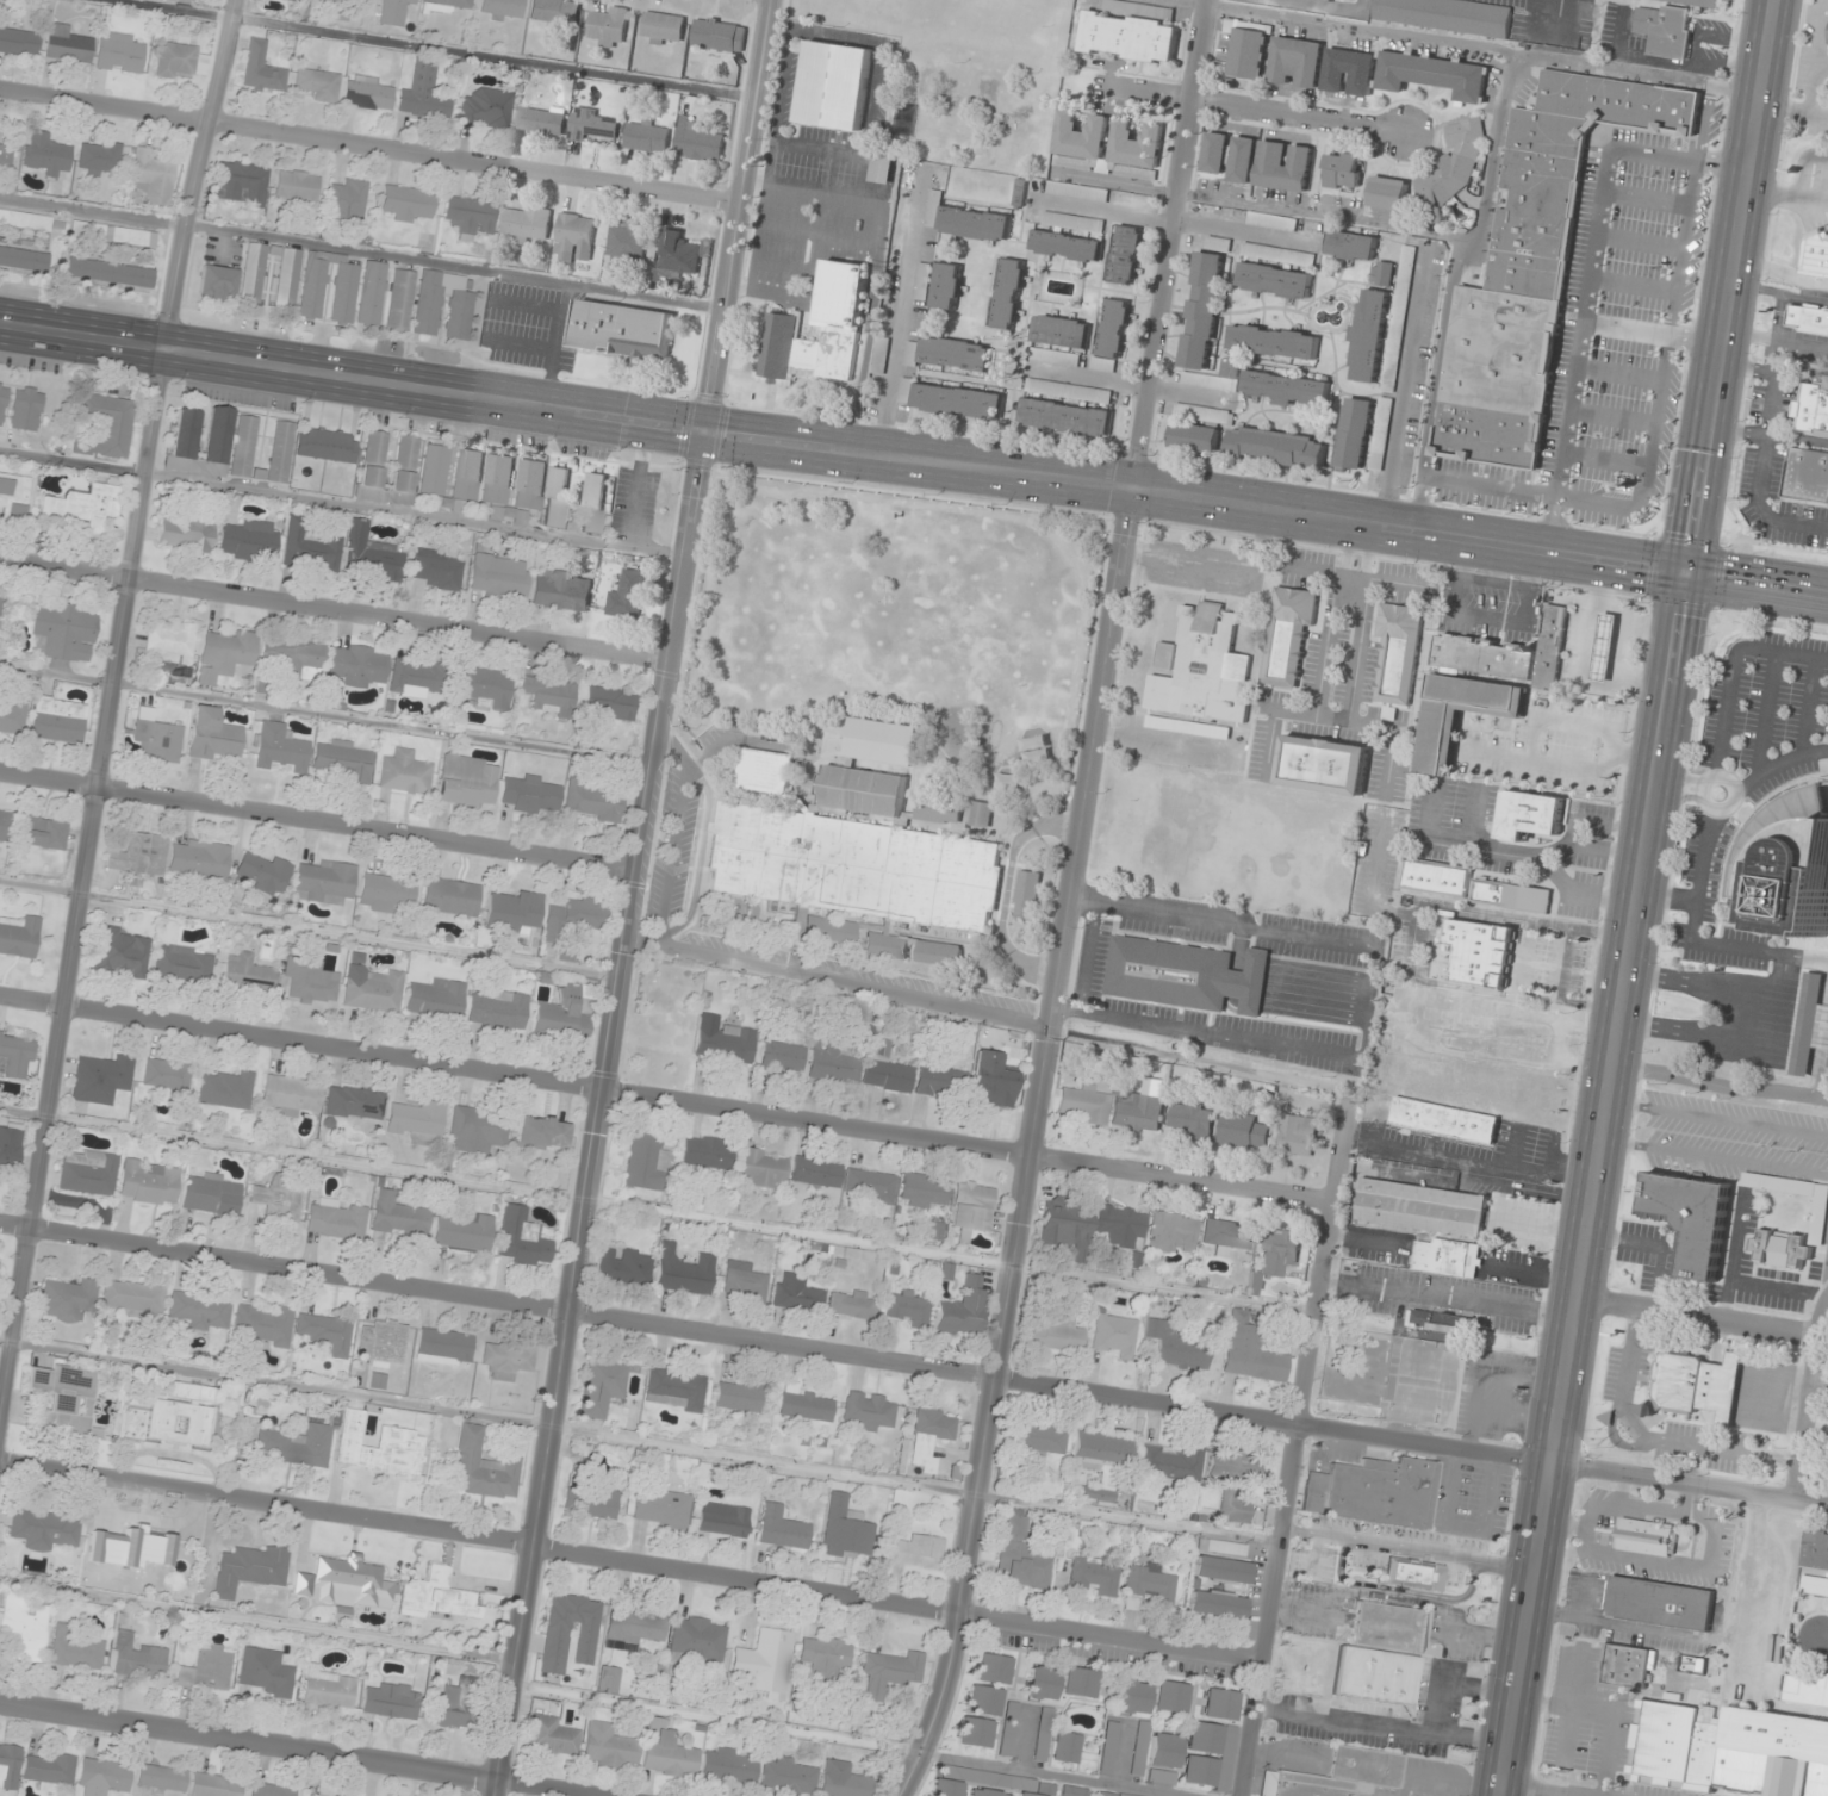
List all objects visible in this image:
building: (340, 1)
building: (1698, 2)
building: (443, 5)
building: (502, 8)
building: (392, 11)
building: (555, 11)
building: (1445, 15)
building: (608, 27)
building: (664, 29)
road: (1357, 29)
building: (1665, 30)
building: (719, 35)
building: (1128, 38)
building: (18, 42)
building: (67, 44)
building: (120, 52)
building: (1248, 55)
building: (175, 60)
building: (1295, 63)
building: (262, 69)
road: (1627, 70)
building: (1349, 72)
building: (1434, 75)
building: (316, 85)
building: (834, 85)
building: (368, 93)
building: (424, 93)
road: (1235, 106)
building: (487, 108)
building: (541, 120)
building: (592, 125)
building: (0, 130)
building: (647, 136)
building: (1081, 141)
building: (700, 143)
road: (371, 148)
building: (1136, 148)
building: (1215, 153)
building: (5, 154)
building: (44, 154)
building: (99, 157)
building: (1243, 160)
road: (1802, 164)
building: (1283, 166)
building: (882, 169)
building: (1451, 172)
building: (1343, 173)
building: (151, 178)
building: (241, 182)
building: (297, 187)
parking lot: (1809, 187)
building: (1388, 193)
road: (1786, 194)
road: (1643, 200)
building: (347, 203)
building: (406, 203)
road: (1260, 206)
building: (471, 216)
building: (31, 220)
building: (964, 220)
building: (1273, 222)
building: (526, 223)
building: (574, 232)
building: (112, 235)
building: (627, 241)
road: (1637, 243)
building: (1065, 246)
building: (1351, 246)
road: (1467, 246)
building: (1814, 253)
building: (679, 254)
building: (1125, 255)
building: (23, 257)
building: (1532, 265)
building: (107, 273)
road: (1782, 273)
building: (253, 274)
building: (1382, 274)
building: (288, 279)
building: (1274, 280)
road: (1587, 280)
building: (217, 282)
building: (313, 285)
road: (1733, 285)
building: (946, 286)
road: (1631, 286)
building: (344, 293)
building: (372, 293)
building: (1008, 293)
road: (1779, 296)
building: (1403, 297)
building: (399, 299)
building: (443, 306)
building: (1201, 310)
building: (1808, 318)
building: (838, 321)
building: (1114, 328)
building: (626, 331)
building: (1059, 331)
road: (1653, 334)
building: (1368, 336)
parking lot: (1611, 336)
road: (1777, 340)
building: (1274, 342)
building: (955, 354)
road: (1618, 374)
road: (1404, 384)
building: (1286, 389)
building: (2, 400)
building: (957, 400)
building: (1811, 408)
building: (26, 409)
building: (1065, 418)
road: (1611, 418)
building: (105, 425)
traffic signals: (708, 430)
building: (1353, 435)
road: (1768, 435)
building: (1194, 439)
building: (200, 440)
building: (327, 445)
building: (244, 446)
building: (1275, 447)
road: (844, 449)
road: (1765, 449)
road: (1605, 461)
building: (373, 466)
road: (1648, 467)
building: (405, 468)
building: (435, 473)
building: (1805, 477)
building: (466, 479)
building: (497, 479)
building: (530, 485)
road: (1611, 489)
building: (13, 496)
building: (557, 497)
road: (344, 503)
building: (593, 503)
building: (83, 507)
building: (186, 533)
building: (249, 541)
building: (311, 547)
building: (372, 555)
building: (439, 568)
traffic signals: (1689, 572)
building: (499, 576)
road: (1758, 583)
building: (564, 591)
building: (628, 596)
building: (0, 599)
road: (336, 608)
road: (1650, 629)
building: (64, 630)
road: (1622, 630)
building: (1288, 635)
building: (170, 644)
building: (1549, 647)
building: (1604, 648)
gas station: (1604, 648)
building: (1398, 653)
building: (224, 654)
building: (296, 657)
building: (357, 665)
road: (1729, 666)
building: (1204, 667)
road: (1586, 667)
building: (417, 677)
building: (485, 686)
building: (548, 695)
road: (1807, 706)
road: (1765, 713)
building: (13, 716)
building: (57, 719)
road: (110, 725)
building: (1188, 728)
building: (213, 735)
building: (153, 739)
building: (883, 744)
building: (280, 747)
building: (344, 760)
road: (1777, 763)
building: (1323, 765)
building: (766, 771)
building: (405, 773)
road: (1683, 778)
building: (468, 779)
building: (862, 793)
building: (531, 794)
road: (1678, 797)
building: (592, 801)
road: (1728, 803)
building: (938, 810)
building: (1530, 814)
road: (321, 819)
building: (4, 825)
building: (42, 832)
road: (672, 852)
road: (701, 852)
building: (139, 855)
building: (199, 859)
building: (1785, 859)
building: (854, 869)
building: (262, 871)
building: (1435, 880)
building: (323, 882)
road: (1006, 891)
building: (385, 893)
building: (1027, 894)
building: (1510, 896)
building: (450, 897)
road: (636, 897)
road: (1666, 897)
road: (1070, 902)
building: (512, 911)
building: (573, 918)
building: (18, 938)
road: (1696, 939)
building: (885, 945)
building: (1478, 952)
building: (120, 953)
building: (939, 953)
building: (184, 963)
building: (247, 974)
building: (1185, 975)
building: (310, 980)
road: (839, 984)
road: (1712, 986)
building: (374, 990)
building: (436, 999)
road: (1808, 1001)
road: (1822, 1002)
building: (498, 1011)
building: (561, 1017)
building: (1809, 1025)
building: (660, 1036)
road: (1705, 1037)
building: (725, 1044)
road: (1801, 1051)
building: (15, 1055)
building: (782, 1056)
building: (832, 1063)
building: (1827, 1063)
building: (884, 1068)
road: (1818, 1069)
building: (167, 1075)
building: (101, 1079)
building: (991, 1080)
building: (939, 1081)
road: (1720, 1086)
building: (225, 1088)
building: (290, 1095)
road: (667, 1099)
building: (354, 1102)
building: (1083, 1104)
building: (1137, 1111)
building: (1192, 1119)
road: (1717, 1119)
building: (417, 1120)
building: (1444, 1120)
building: (478, 1130)
building: (1243, 1131)
building: (542, 1132)
building: (1298, 1135)
building: (11, 1146)
building: (707, 1155)
road: (1714, 1157)
building: (646, 1161)
building: (764, 1167)
building: (816, 1172)
building: (88, 1173)
building: (149, 1182)
road: (1593, 1183)
building: (871, 1186)
building: (924, 1189)
building: (211, 1194)
building: (278, 1200)
building: (971, 1208)
building: (1422, 1208)
building: (1818, 1214)
building: (399, 1217)
building: (336, 1218)
building: (1691, 1219)
building: (1065, 1225)
building: (1120, 1225)
building: (464, 1231)
building: (1173, 1232)
building: (1226, 1235)
building: (522, 1238)
building: (1276, 1255)
road: (1729, 1255)
building: (1447, 1256)
building: (624, 1266)
building: (684, 1272)
building: (744, 1280)
road: (1827, 1284)
road: (1776, 1288)
building: (796, 1293)
building: (133, 1297)
building: (67, 1299)
building: (852, 1304)
building: (908, 1307)
building: (963, 1309)
building: (201, 1311)
road: (1696, 1316)
building: (262, 1324)
building: (325, 1332)
building: (1058, 1335)
building: (1112, 1335)
building: (383, 1342)
building: (1176, 1346)
building: (444, 1347)
building: (1250, 1351)
building: (508, 1359)
road: (914, 1365)
building: (1424, 1371)
building: (378, 1380)
building: (601, 1385)
building: (1698, 1385)
road: (1818, 1387)
building: (674, 1390)
building: (67, 1397)
building: (738, 1397)
road: (1807, 1397)
building: (804, 1405)
building: (868, 1410)
building: (182, 1415)
building: (929, 1435)
building: (1039, 1441)
building: (298, 1444)
building: (379, 1447)
road: (1301, 1448)
building: (1826, 1453)
building: (1100, 1462)
building: (1173, 1463)
building: (481, 1468)
building: (1233, 1481)
building: (1373, 1491)
road: (1618, 1491)
building: (590, 1502)
road: (1690, 1503)
building: (661, 1508)
building: (723, 1518)
road: (1562, 1525)
building: (44, 1528)
building: (783, 1528)
building: (852, 1536)
building: (1642, 1537)
parking lot: (1590, 1539)
road: (1709, 1546)
building: (1221, 1547)
building: (920, 1552)
building: (133, 1555)
building: (1021, 1556)
road: (632, 1561)
building: (1815, 1566)
building: (249, 1570)
building: (1221, 1570)
building: (1412, 1572)
building: (1093, 1576)
building: (347, 1583)
building: (1149, 1583)
building: (436, 1596)
building: (1215, 1603)
building: (1658, 1604)
building: (24, 1624)
building: (638, 1627)
building: (698, 1639)
road: (1824, 1639)
building: (555, 1642)
building: (76, 1649)
building: (138, 1658)
building: (825, 1658)
building: (764, 1661)
building: (207, 1667)
building: (993, 1668)
building: (1625, 1668)
building: (890, 1672)
building: (268, 1676)
building: (1372, 1677)
building: (609, 1679)
building: (1040, 1683)
building: (1078, 1683)
building: (328, 1688)
road: (1478, 1689)
building: (1807, 1690)
building: (1132, 1697)
building: (1169, 1697)
building: (392, 1701)
building: (983, 1701)
building: (1218, 1704)
building: (456, 1707)
road: (1572, 1707)
road: (1604, 1713)
parking lot: (1382, 1714)
road: (1381, 1727)
building: (974, 1732)
building: (551, 1736)
building: (1202, 1738)
road: (1469, 1738)
building: (1714, 1741)
building: (1067, 1747)
road: (296, 1748)
building: (1108, 1748)
building: (1163, 1750)
building: (667, 1751)
building: (1226, 1759)
building: (729, 1765)
building: (10, 1766)
building: (50, 1771)
building: (1196, 1771)
building: (1341, 1775)
building: (104, 1777)
building: (162, 1777)
building: (788, 1777)
building: (1161, 1777)
building: (843, 1782)
building: (214, 1785)
building: (945, 1788)
building: (272, 1790)
road: (1528, 1791)
building: (984, 1792)
building: (340, 1795)
building: (1024, 1795)

